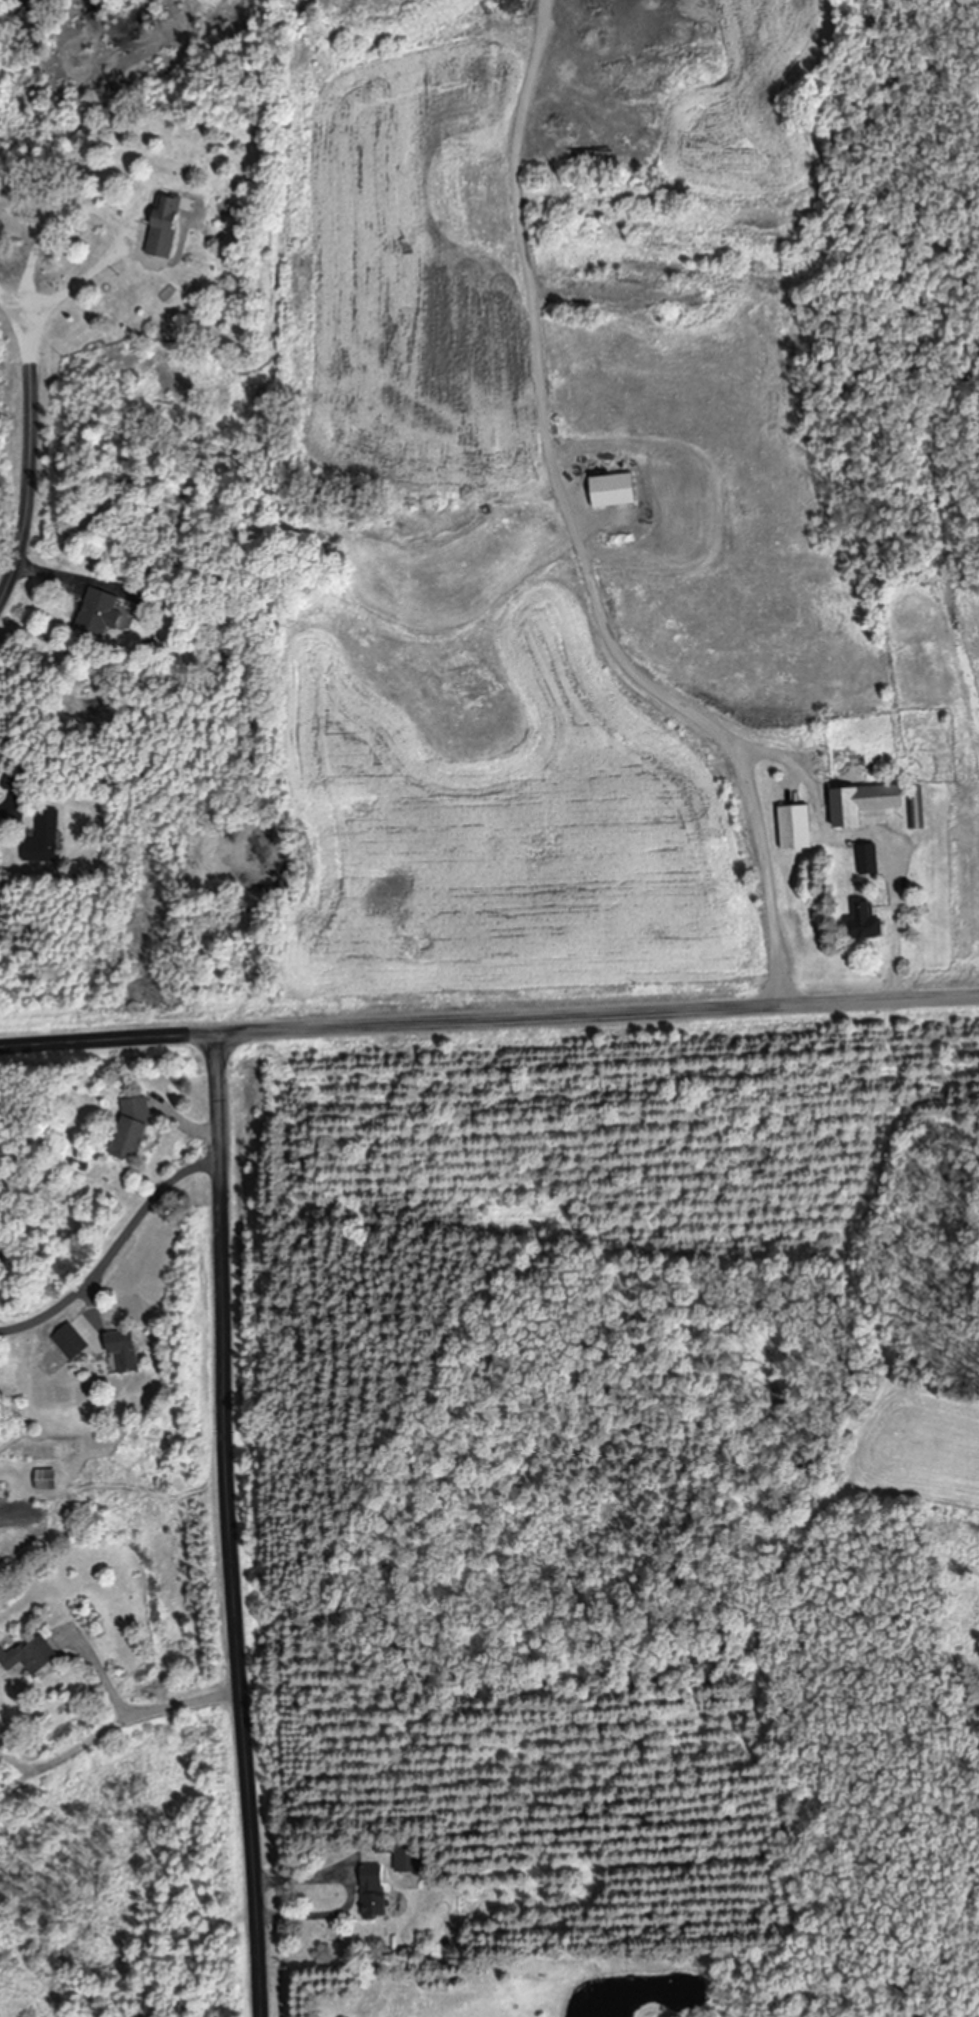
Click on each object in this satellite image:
quarry: (554, 118)
building: (160, 227)
road: (61, 293)
road: (29, 460)
building: (612, 490)
road: (573, 531)
road: (44, 575)
building: (99, 614)
building: (862, 804)
road: (4, 815)
building: (795, 828)
building: (43, 839)
building: (867, 860)
building: (864, 923)
road: (895, 924)
road: (597, 1012)
road: (108, 1037)
building: (131, 1128)
road: (191, 1128)
road: (114, 1253)
road: (93, 1309)
building: (70, 1342)
building: (124, 1351)
road: (230, 1524)
building: (30, 1656)
road: (104, 1676)
road: (182, 1704)
building: (406, 1858)
building: (372, 1891)
road: (336, 1893)

